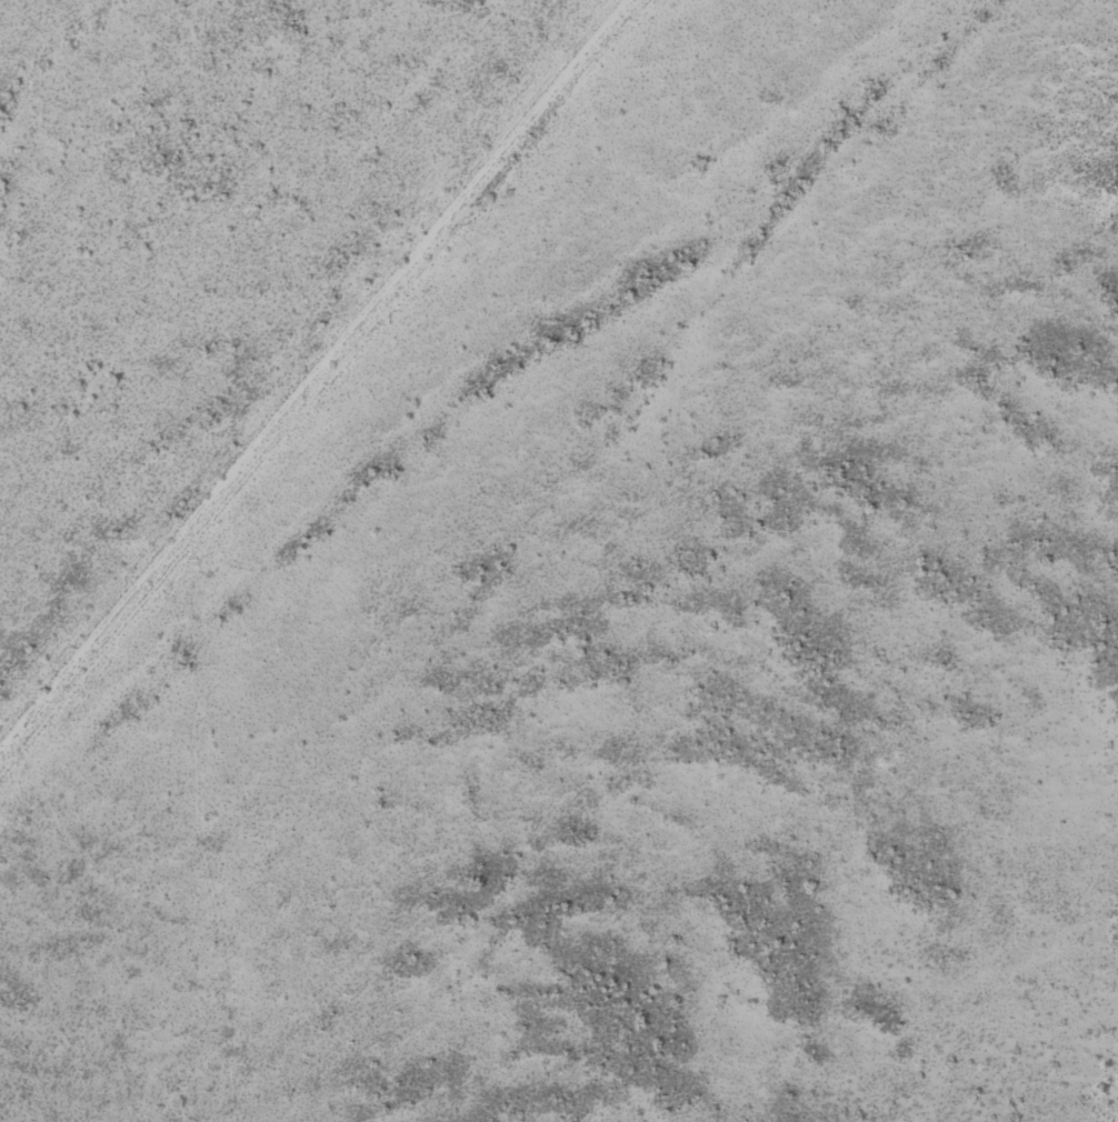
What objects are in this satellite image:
road: (321, 382)

